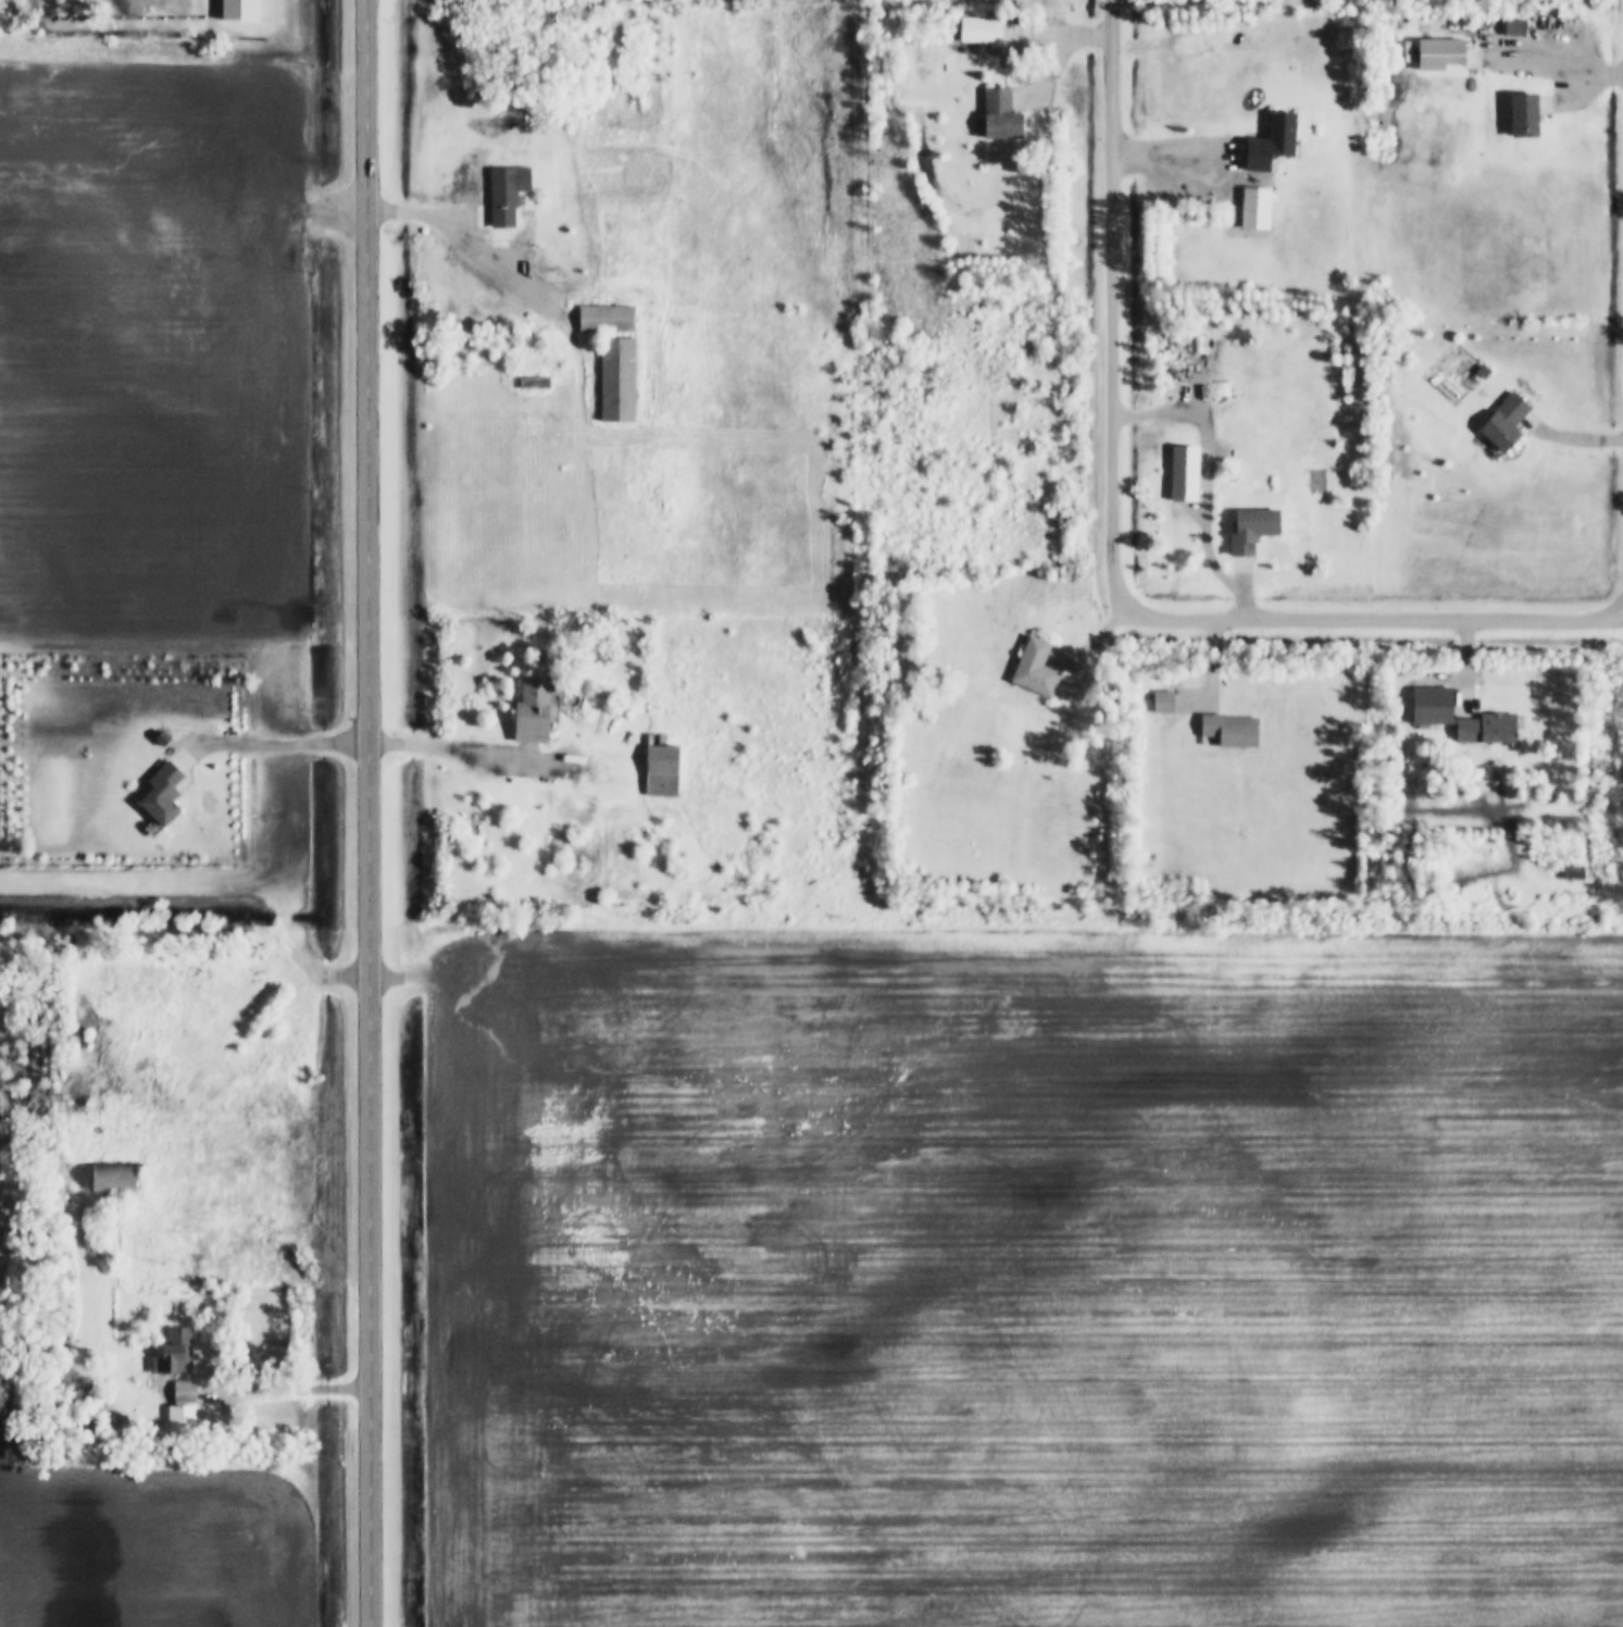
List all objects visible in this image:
building: (239, 11)
building: (984, 33)
building: (1441, 57)
building: (1001, 116)
building: (1524, 117)
building: (1273, 144)
building: (507, 197)
building: (607, 320)
crop: (151, 349)
building: (617, 381)
building: (1506, 423)
building: (1185, 473)
building: (1253, 530)
road: (1118, 548)
building: (1036, 669)
building: (1163, 703)
building: (1433, 706)
building: (535, 713)
building: (1225, 729)
building: (1486, 729)
road: (461, 748)
building: (662, 768)
building: (163, 795)
road: (373, 812)
road: (263, 1043)
building: (115, 1178)
crop: (1021, 1279)
building: (178, 1353)
road: (296, 1383)
building: (183, 1408)
crop: (154, 1549)

